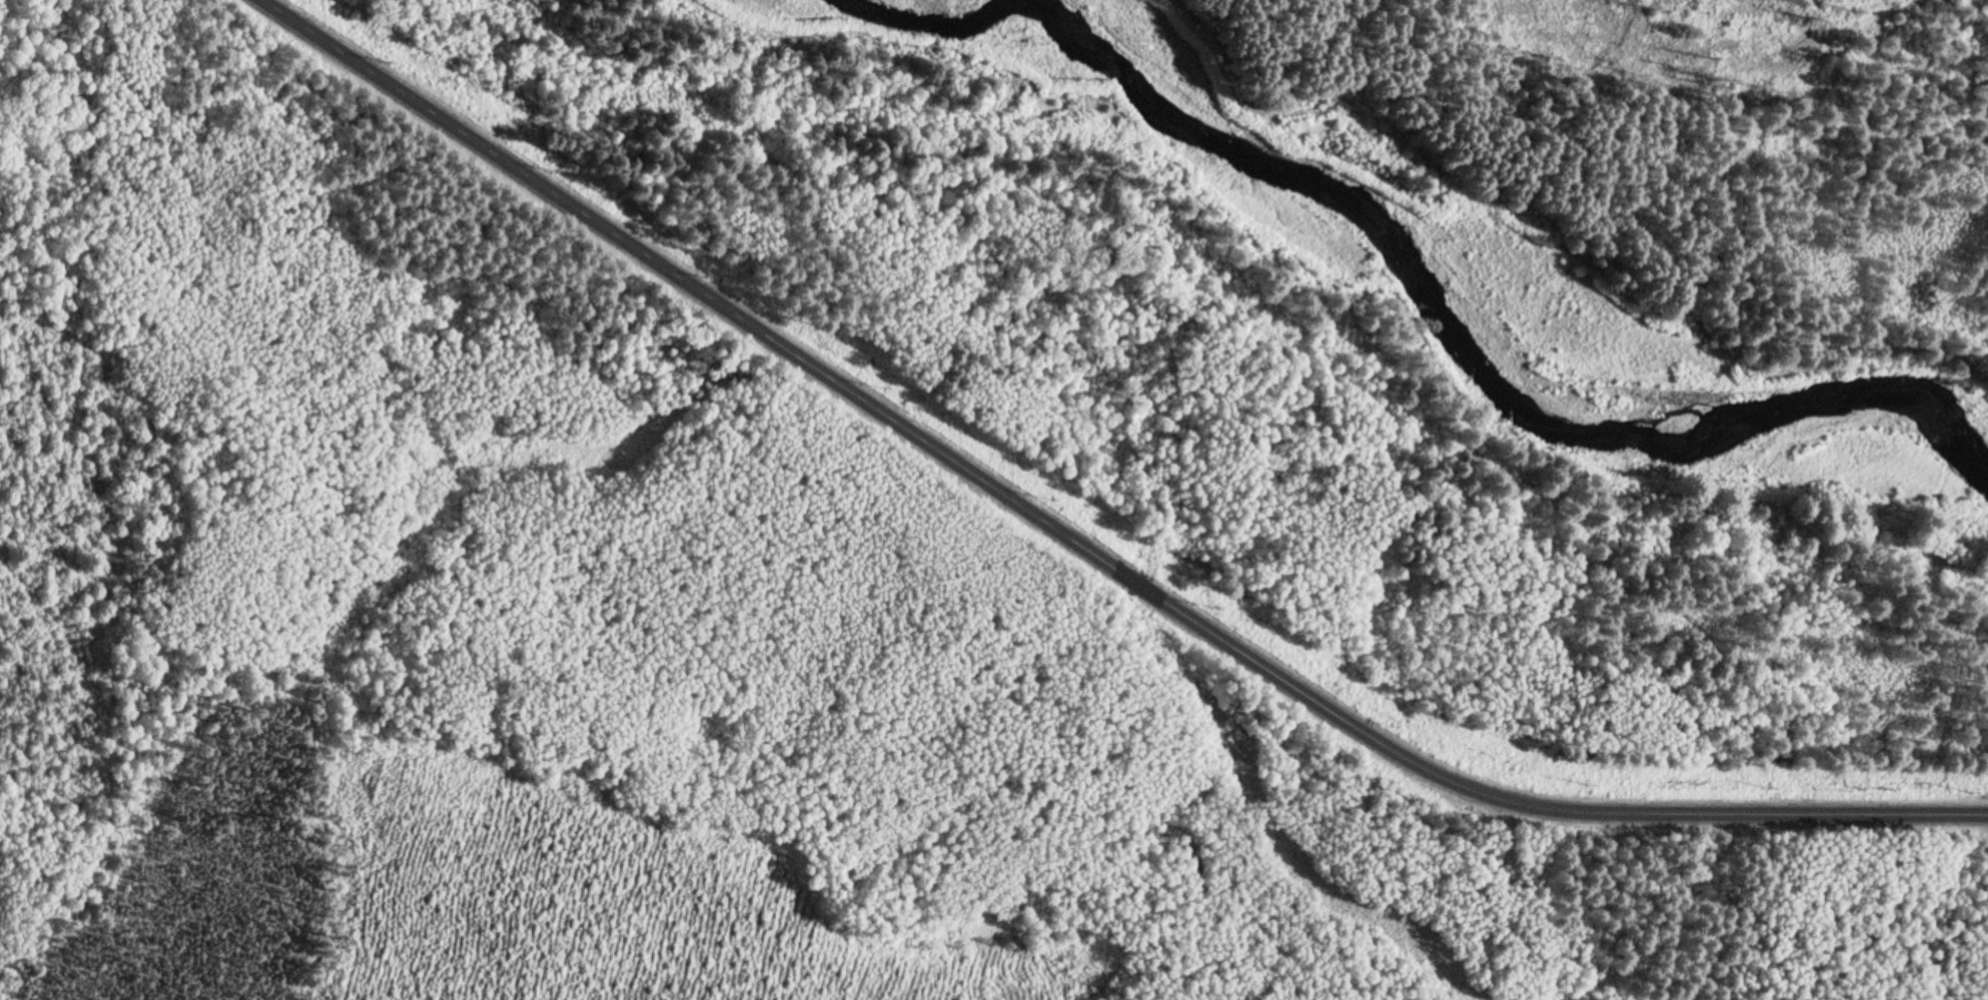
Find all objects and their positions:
river: (1449, 303)
road: (1081, 544)

